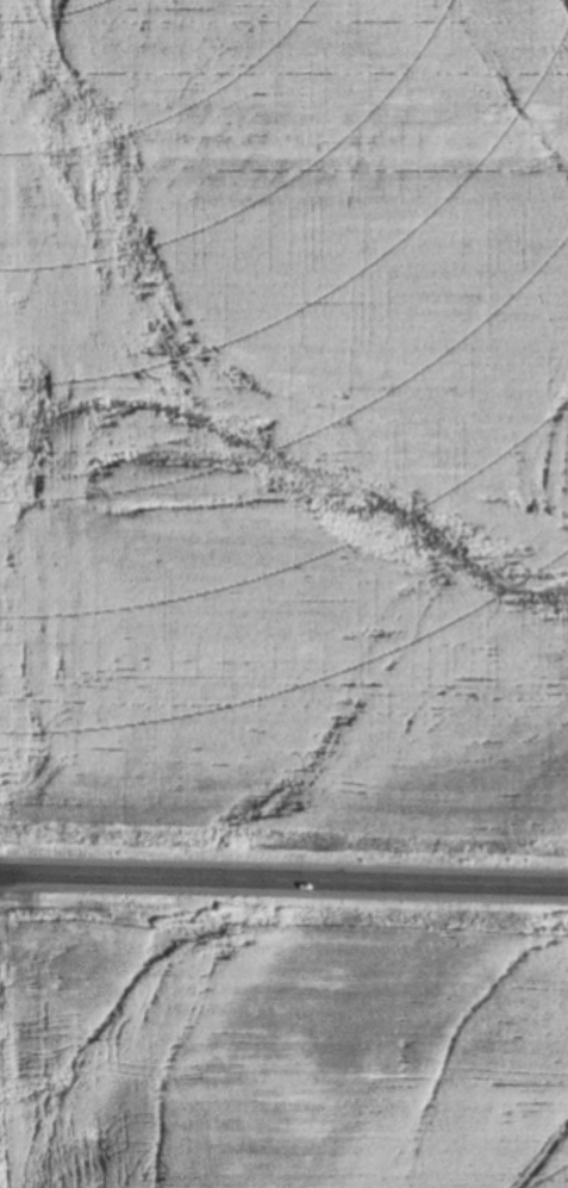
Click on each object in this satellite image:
road: (283, 875)

